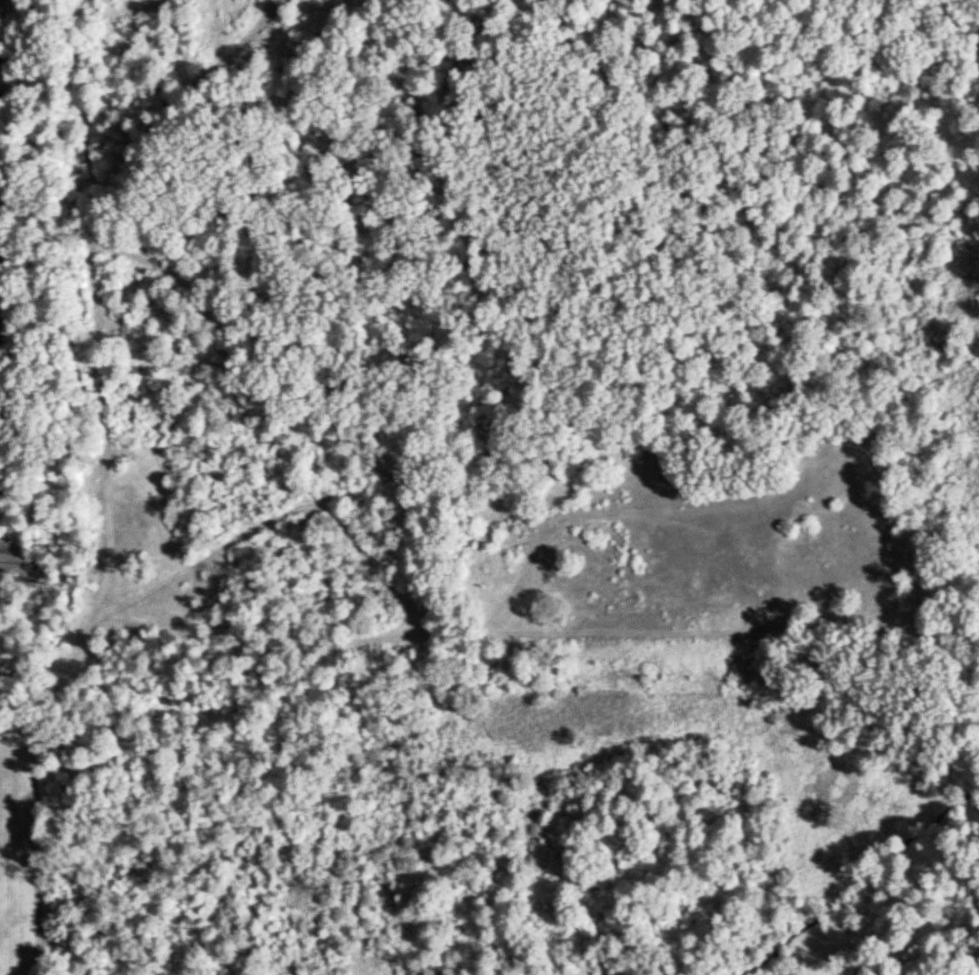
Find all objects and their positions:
crop: (10, 847)

